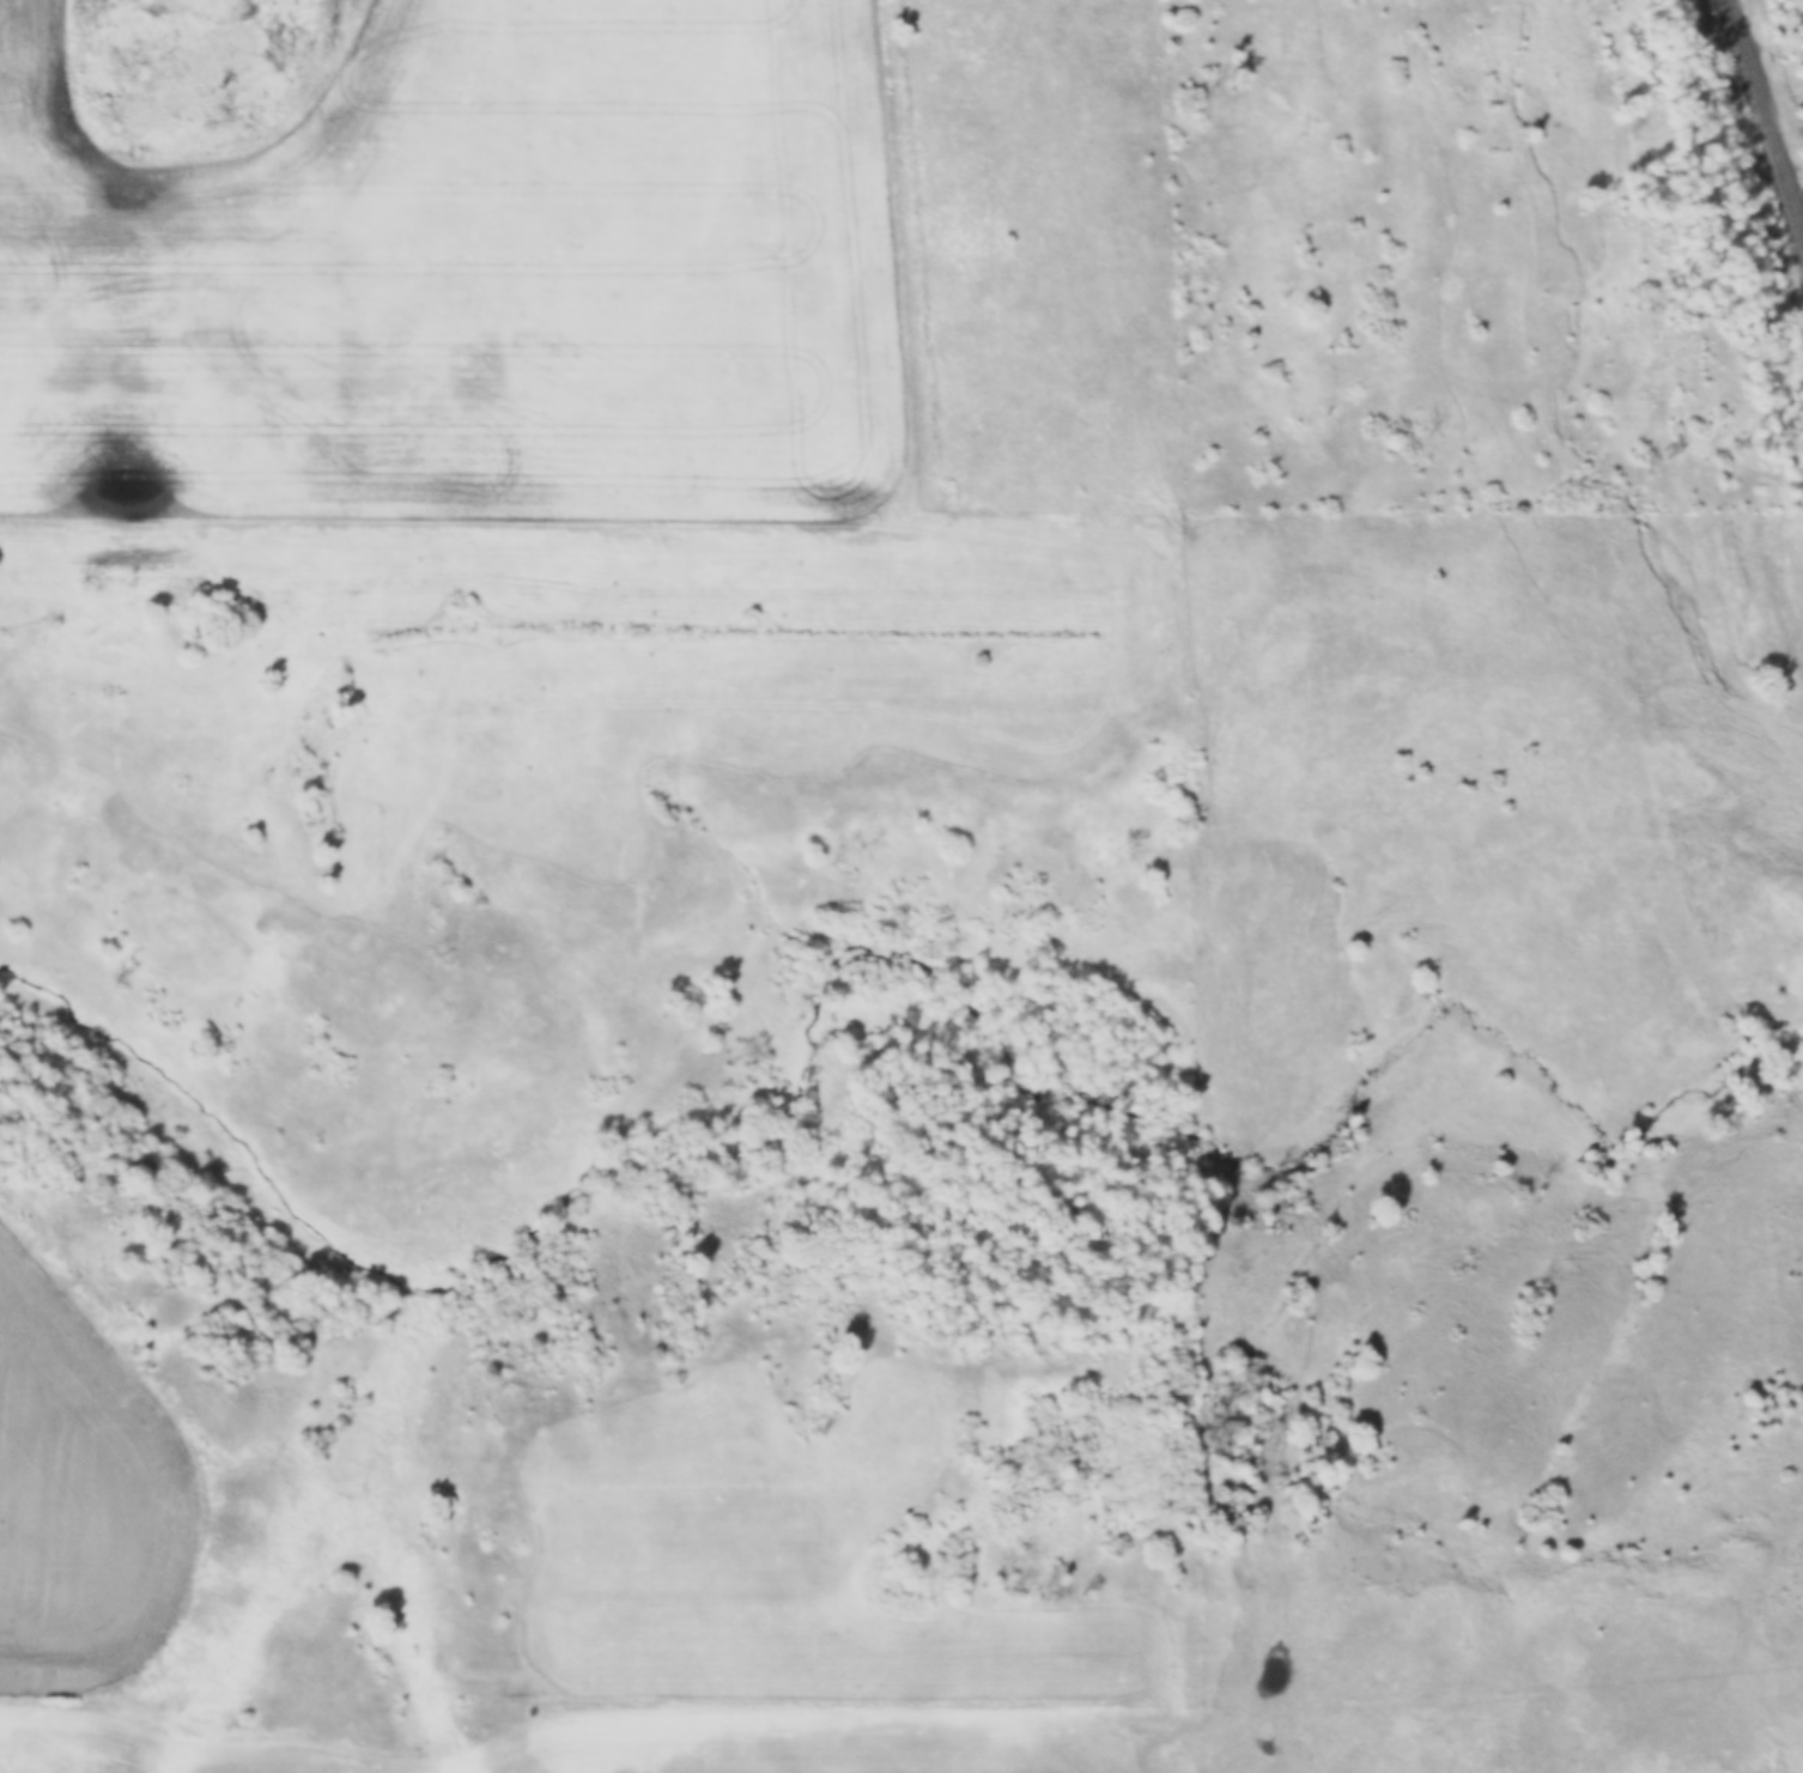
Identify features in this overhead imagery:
railway: (1763, 123)

